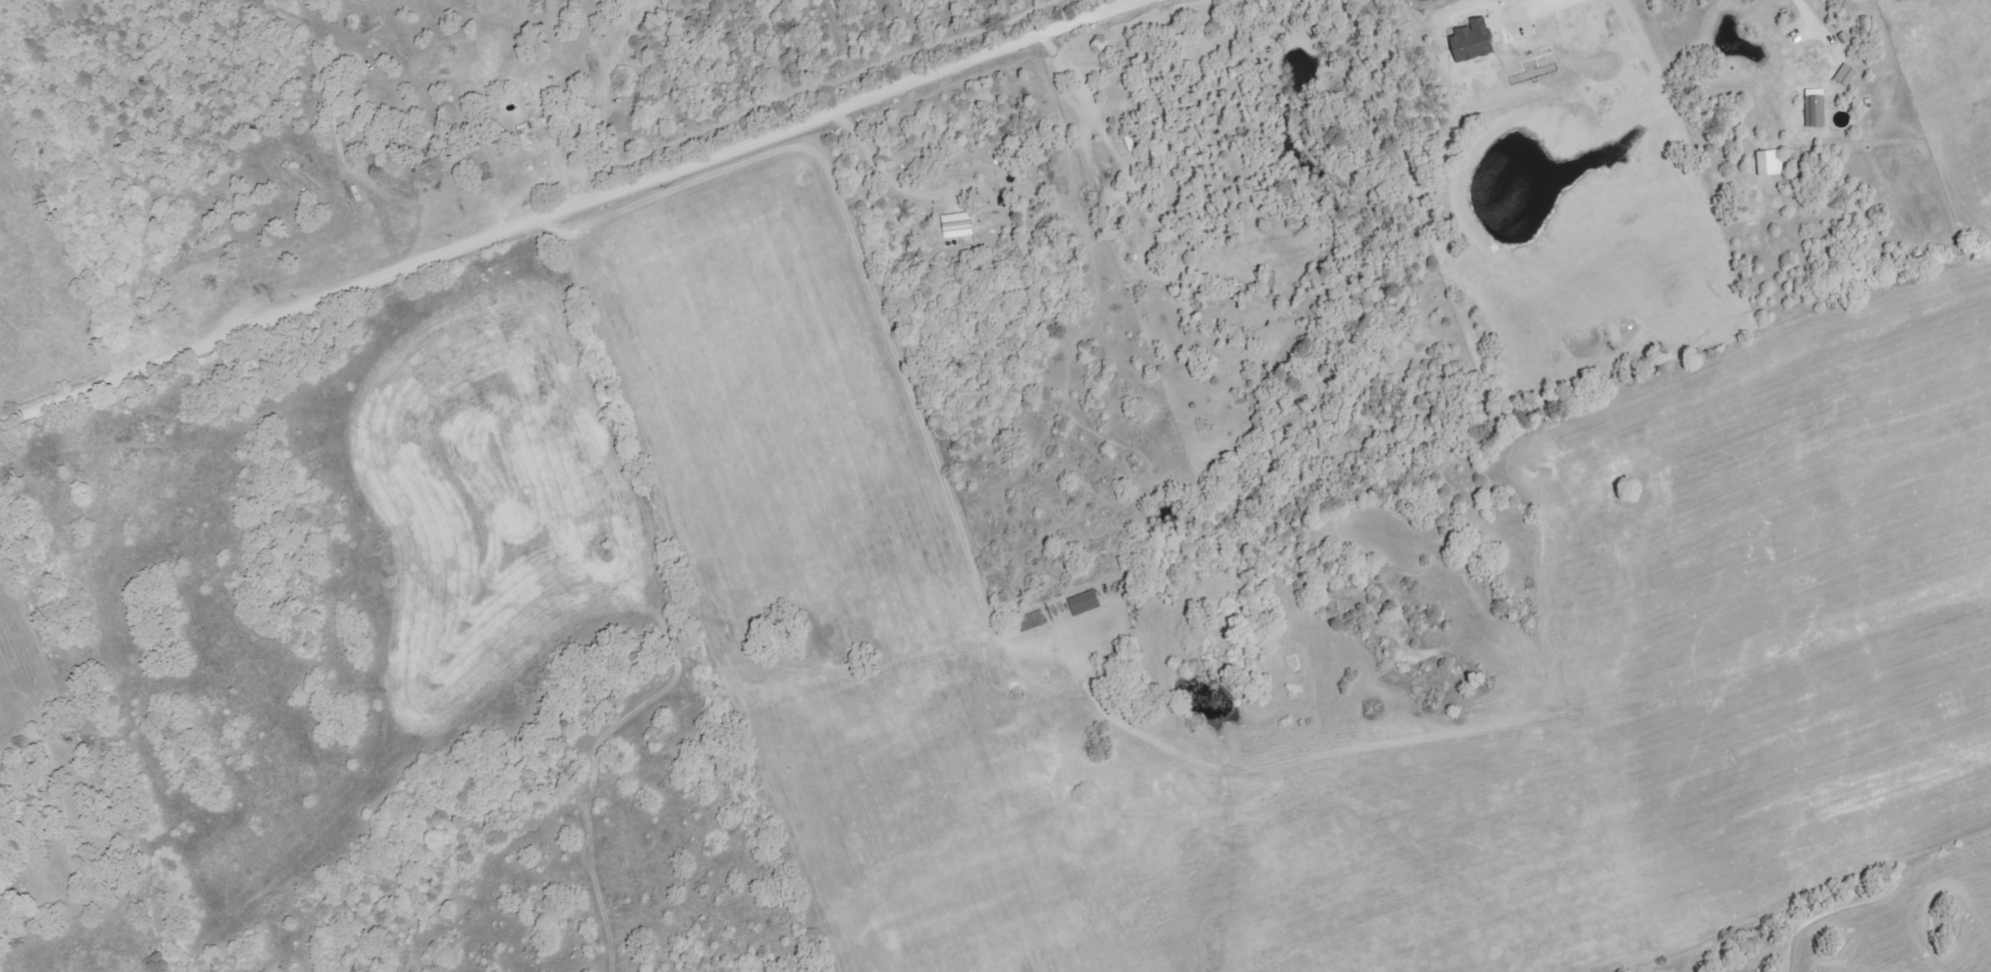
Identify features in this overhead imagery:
road: (1506, 2)
road: (1802, 14)
building: (1472, 40)
building: (1846, 75)
building: (1815, 108)
building: (537, 130)
building: (1770, 163)
road: (890, 182)
road: (571, 209)
building: (957, 225)
building: (1084, 603)
building: (1032, 621)

